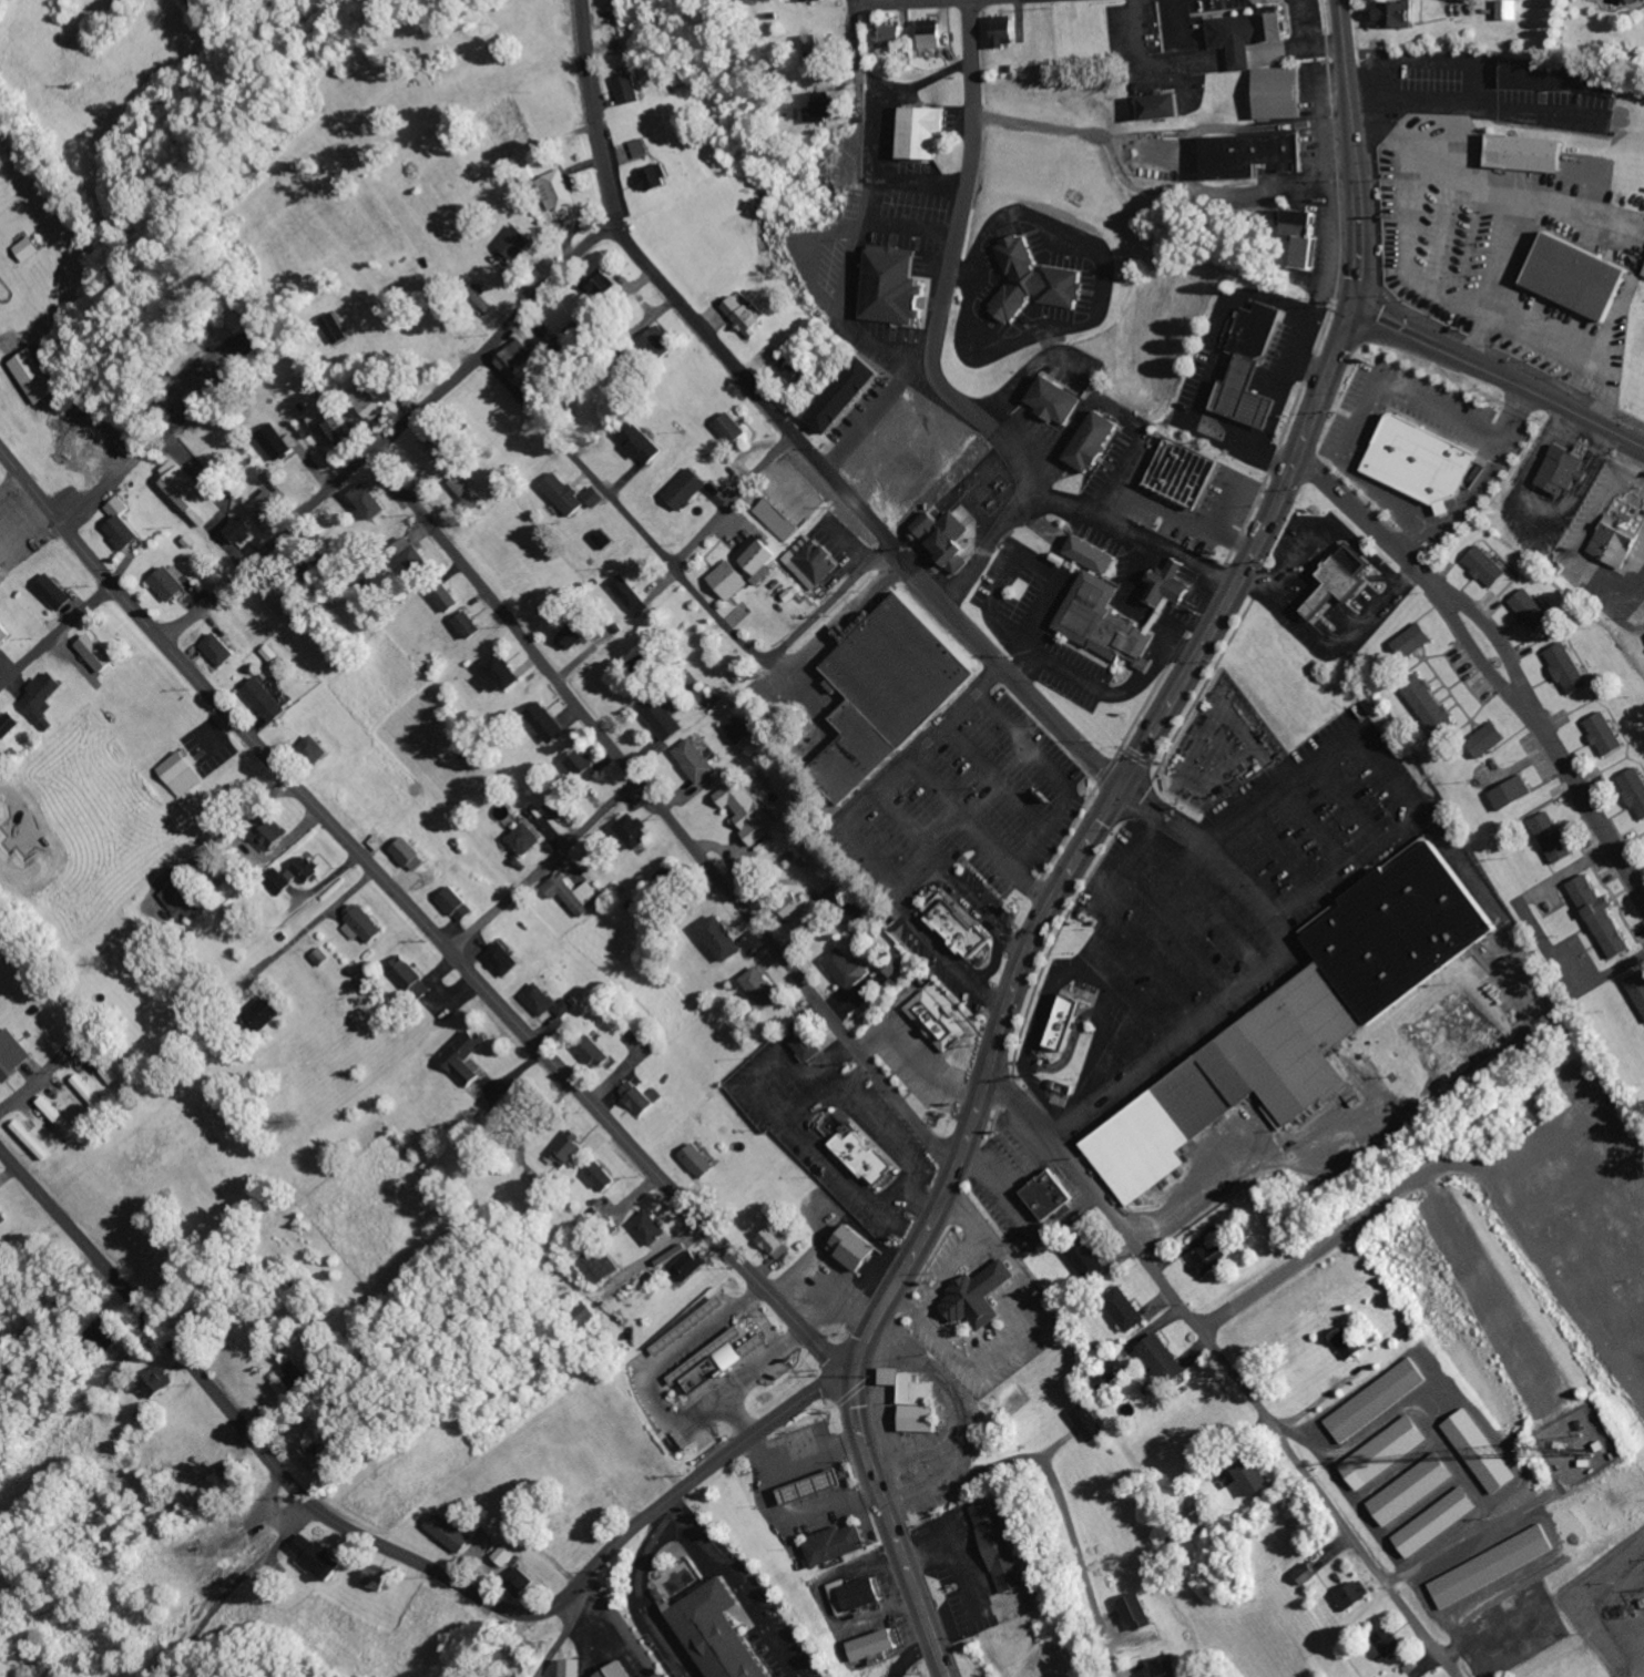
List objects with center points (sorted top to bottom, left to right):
building: (1643, 0)
building: (815, 1)
road: (917, 2)
building: (1511, 10)
building: (1396, 17)
building: (1004, 31)
building: (892, 34)
building: (933, 34)
building: (818, 44)
building: (1245, 58)
building: (1562, 80)
building: (633, 91)
building: (827, 108)
road: (875, 109)
building: (1167, 109)
building: (926, 133)
building: (642, 149)
building: (1531, 152)
road: (1352, 154)
building: (1252, 155)
building: (657, 180)
building: (562, 191)
building: (520, 241)
building: (31, 248)
building: (1582, 275)
building: (1039, 280)
building: (899, 287)
building: (606, 288)
building: (488, 305)
traffic signals: (1351, 308)
building: (747, 313)
building: (229, 327)
building: (337, 327)
building: (570, 340)
building: (519, 359)
building: (1256, 367)
building: (795, 369)
building: (38, 376)
road: (939, 376)
road: (1498, 376)
building: (850, 393)
building: (1061, 399)
building: (370, 400)
road: (787, 426)
building: (308, 428)
building: (734, 428)
building: (336, 429)
road: (392, 431)
building: (1099, 440)
building: (279, 442)
building: (643, 442)
building: (438, 448)
building: (1427, 460)
building: (1565, 470)
building: (1187, 472)
road: (11, 485)
building: (690, 488)
building: (464, 490)
building: (191, 493)
building: (566, 493)
building: (596, 495)
road: (733, 500)
building: (371, 502)
building: (268, 503)
building: (778, 519)
building: (125, 524)
building: (243, 530)
building: (1617, 534)
building: (951, 538)
building: (605, 539)
building: (415, 554)
building: (759, 554)
building: (1094, 554)
building: (818, 564)
building: (1489, 566)
road: (677, 574)
building: (732, 579)
building: (1345, 580)
building: (173, 583)
building: (1171, 585)
building: (57, 592)
building: (631, 594)
building: (449, 597)
building: (280, 599)
building: (1534, 610)
building: (1105, 621)
building: (471, 625)
building: (6, 633)
building: (578, 635)
road: (55, 636)
building: (1415, 641)
road: (1500, 648)
building: (223, 650)
building: (102, 653)
building: (269, 653)
building: (1570, 668)
building: (894, 671)
building: (504, 674)
building: (45, 698)
building: (268, 699)
building: (1436, 706)
building: (663, 717)
building: (549, 723)
building: (11, 725)
building: (738, 729)
building: (1607, 734)
building: (1492, 739)
building: (318, 748)
building: (697, 760)
building: (583, 765)
building: (185, 771)
traffic signals: (1121, 787)
building: (1636, 787)
building: (1515, 793)
building: (555, 809)
road: (661, 811)
building: (748, 811)
building: (635, 830)
building: (273, 834)
building: (1556, 837)
building: (528, 839)
building: (411, 853)
road: (543, 866)
building: (308, 869)
building: (280, 881)
building: (573, 892)
building: (840, 896)
building: (186, 900)
building: (460, 904)
building: (799, 907)
road: (417, 916)
building: (1604, 917)
building: (364, 924)
building: (964, 929)
building: (723, 939)
building: (324, 957)
building: (507, 958)
building: (897, 962)
building: (848, 968)
building: (415, 978)
road: (1018, 978)
building: (369, 984)
building: (1638, 985)
building: (763, 988)
building: (550, 1002)
building: (266, 1012)
building: (1308, 1019)
building: (939, 1021)
building: (1070, 1023)
building: (810, 1047)
building: (595, 1053)
building: (13, 1055)
building: (469, 1056)
building: (102, 1064)
road: (33, 1086)
building: (90, 1093)
building: (643, 1097)
building: (58, 1116)
building: (33, 1141)
building: (568, 1149)
building: (858, 1156)
building: (701, 1162)
building: (602, 1177)
building: (1052, 1195)
building: (3, 1219)
building: (653, 1228)
building: (779, 1243)
building: (859, 1249)
building: (1215, 1258)
building: (1090, 1259)
building: (599, 1262)
building: (692, 1266)
building: (983, 1296)
building: (1127, 1309)
building: (584, 1313)
road: (764, 1323)
building: (692, 1326)
building: (108, 1335)
building: (1351, 1344)
building: (1165, 1359)
building: (719, 1361)
traffic signals: (851, 1369)
road: (1229, 1370)
building: (1114, 1373)
building: (160, 1382)
building: (1379, 1400)
building: (920, 1401)
road: (655, 1408)
road: (734, 1415)
building: (1091, 1423)
road: (252, 1438)
building: (1387, 1452)
building: (1483, 1452)
building: (234, 1474)
building: (1257, 1477)
building: (805, 1486)
building: (1415, 1489)
road: (1056, 1490)
road: (666, 1499)
road: (674, 1503)
building: (1439, 1522)
building: (450, 1533)
building: (829, 1543)
building: (1004, 1546)
building: (316, 1556)
building: (506, 1556)
building: (1495, 1566)
building: (1309, 1573)
building: (375, 1581)
building: (521, 1582)
road: (744, 1587)
road: (640, 1594)
road: (231, 1595)
building: (857, 1596)
building: (1354, 1596)
power substation: (1612, 1606)
building: (1142, 1613)
road: (622, 1624)
building: (719, 1633)
building: (1390, 1643)
building: (879, 1646)
building: (574, 1668)
building: (621, 1670)

